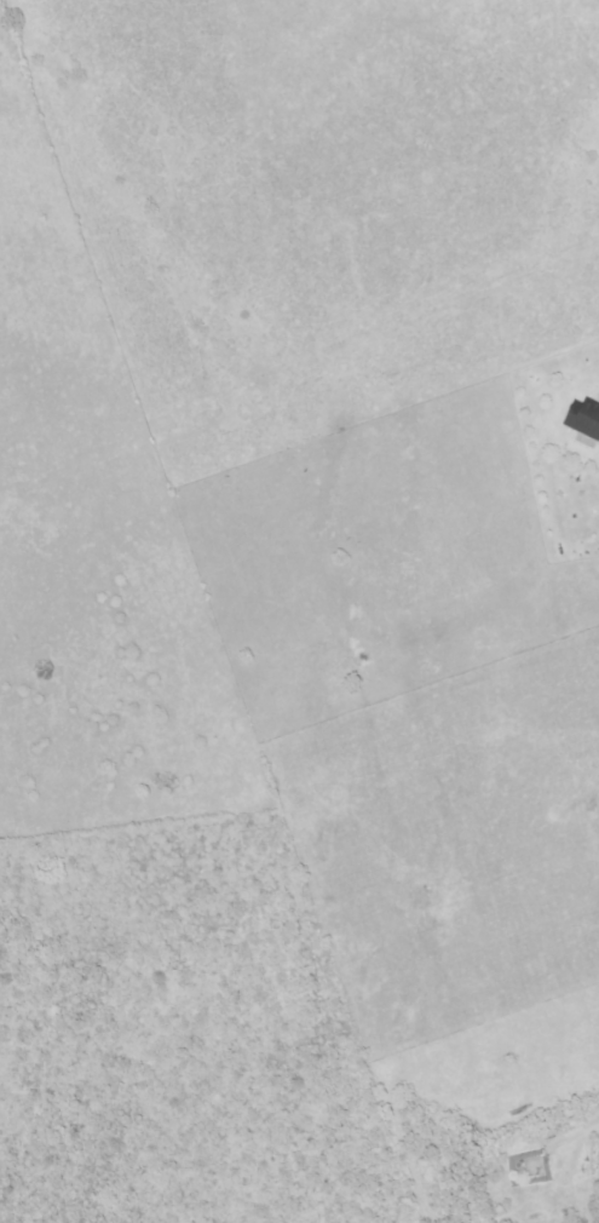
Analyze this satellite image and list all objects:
building: (583, 423)

